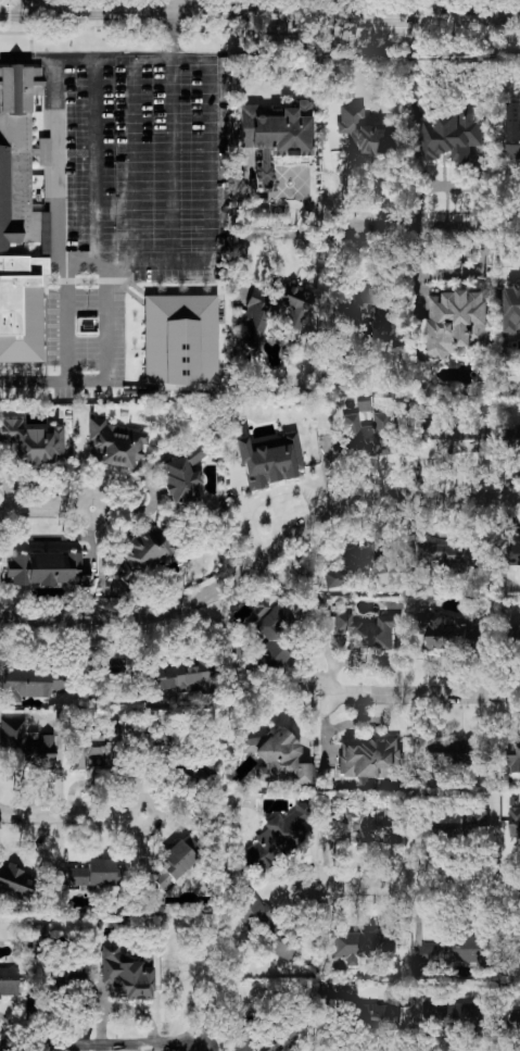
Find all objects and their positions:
road: (25, 4)
road: (180, 5)
road: (259, 11)
road: (173, 35)
road: (27, 54)
building: (513, 129)
building: (451, 132)
building: (366, 133)
building: (276, 136)
building: (21, 182)
parking lot: (125, 196)
road: (421, 226)
road: (254, 236)
road: (67, 264)
road: (89, 264)
road: (449, 273)
building: (512, 308)
building: (370, 312)
building: (275, 314)
building: (457, 322)
building: (177, 328)
road: (36, 380)
building: (368, 436)
building: (457, 437)
building: (31, 442)
building: (115, 446)
building: (268, 461)
building: (185, 477)
road: (265, 498)
road: (45, 509)
building: (452, 552)
building: (515, 553)
building: (142, 555)
building: (357, 566)
road: (264, 567)
building: (49, 570)
building: (261, 609)
building: (447, 630)
building: (368, 631)
building: (516, 635)
building: (266, 645)
building: (180, 676)
building: (31, 683)
road: (418, 693)
building: (160, 740)
building: (28, 745)
building: (94, 748)
building: (456, 753)
building: (513, 756)
building: (370, 758)
building: (276, 760)
road: (60, 784)
road: (71, 815)
building: (372, 824)
building: (515, 824)
building: (276, 840)
building: (174, 865)
building: (93, 874)
building: (16, 881)
road: (418, 887)
building: (267, 927)
building: (38, 934)
building: (362, 946)
building: (513, 948)
building: (460, 949)
building: (81, 972)
building: (127, 973)
building: (9, 981)
building: (461, 1012)
building: (372, 1015)
building: (516, 1019)
building: (278, 1039)
building: (243, 1042)
road: (99, 1046)

